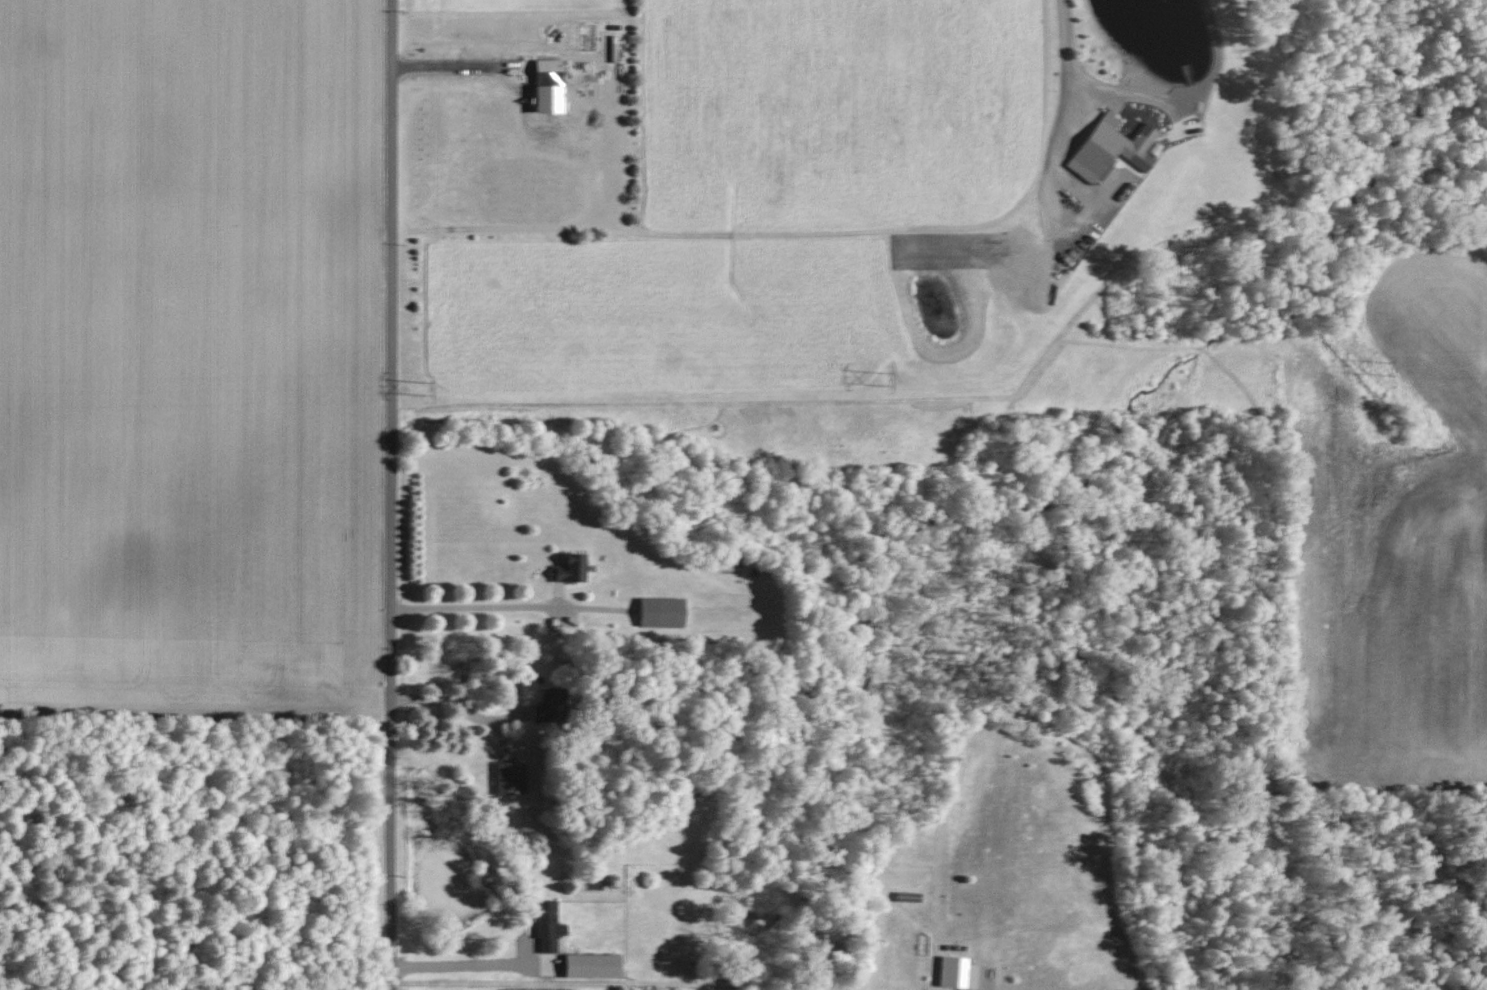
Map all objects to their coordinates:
road: (1066, 58)
road: (455, 66)
building: (543, 73)
building: (1105, 150)
power tower: (1383, 367)
power tower: (879, 378)
power tower: (421, 388)
road: (391, 494)
building: (566, 568)
road: (477, 607)
building: (656, 612)
building: (541, 709)
building: (506, 778)
building: (544, 926)
building: (586, 966)
road: (461, 967)
building: (948, 972)

